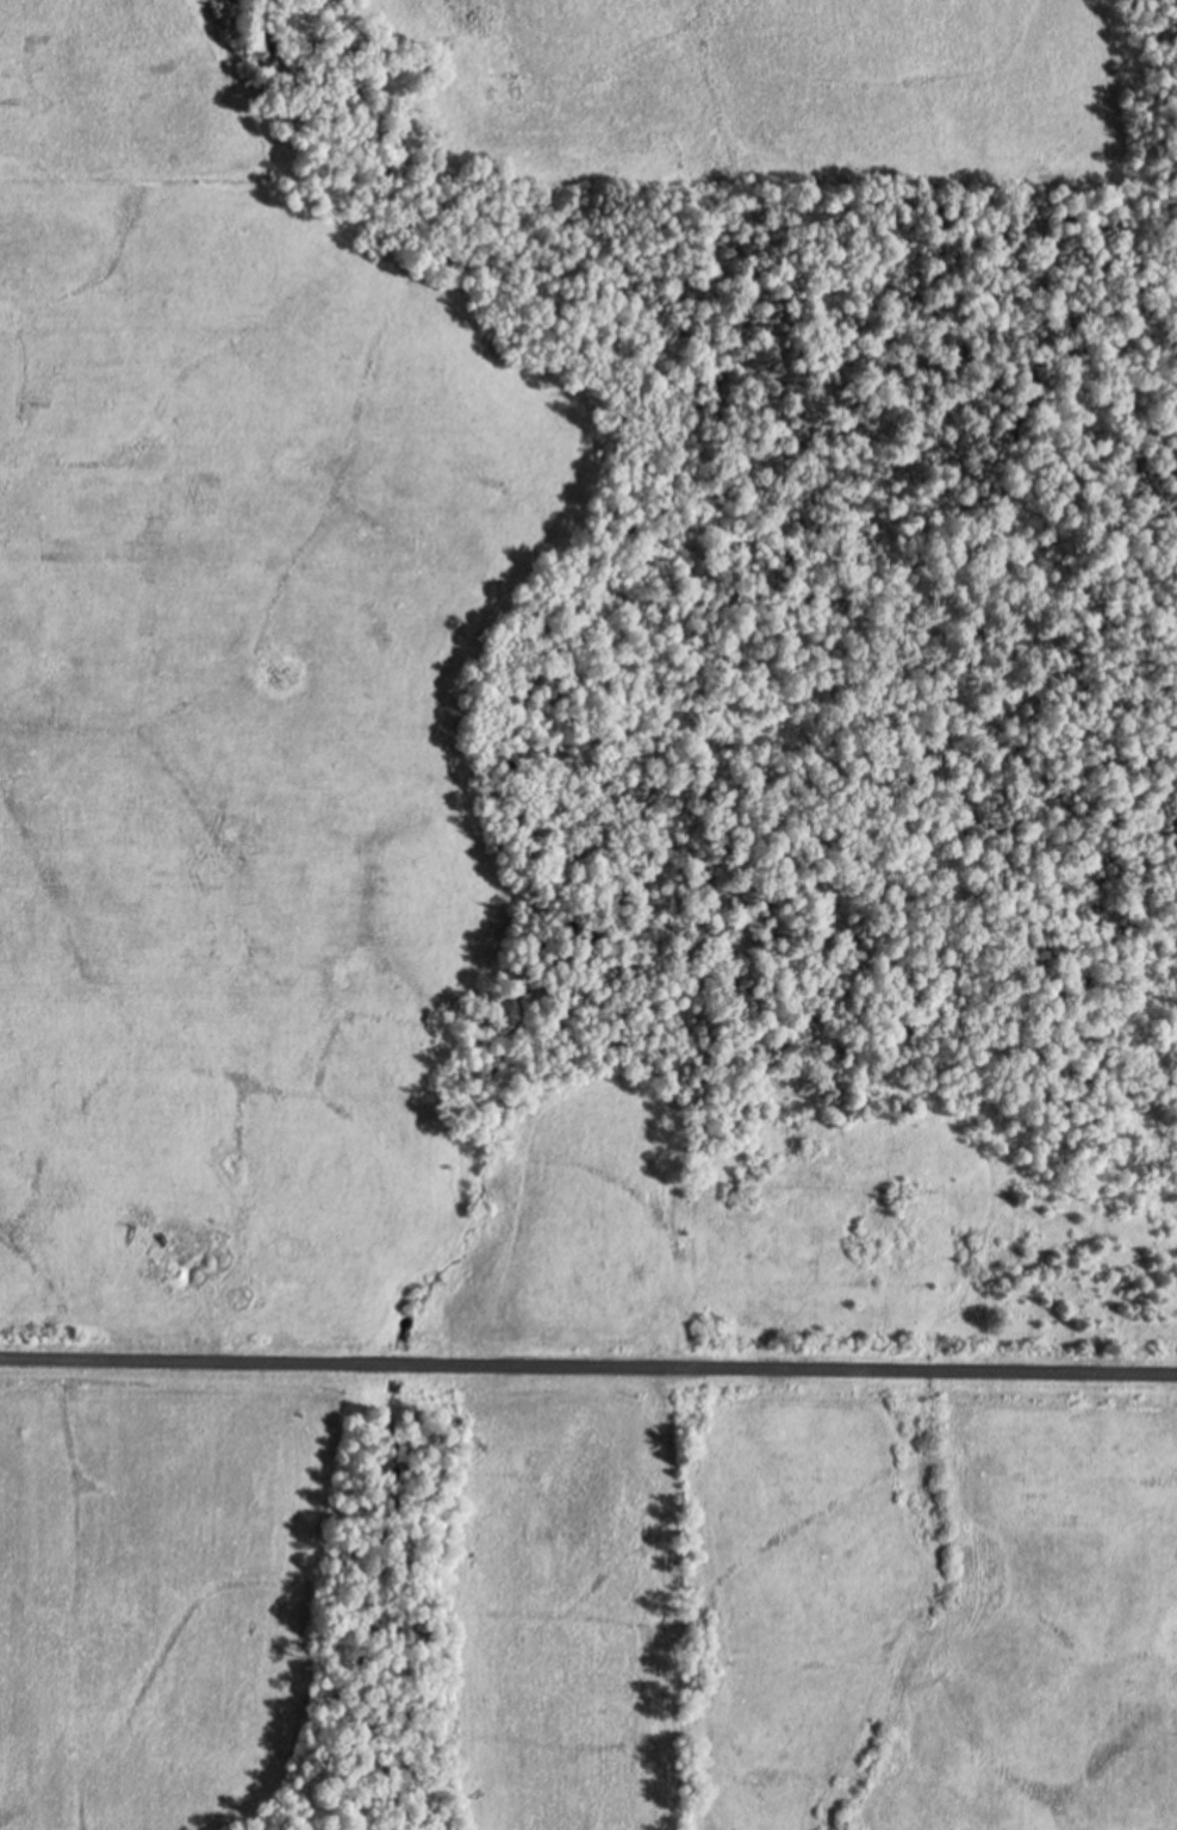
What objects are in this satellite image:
road: (588, 1364)

